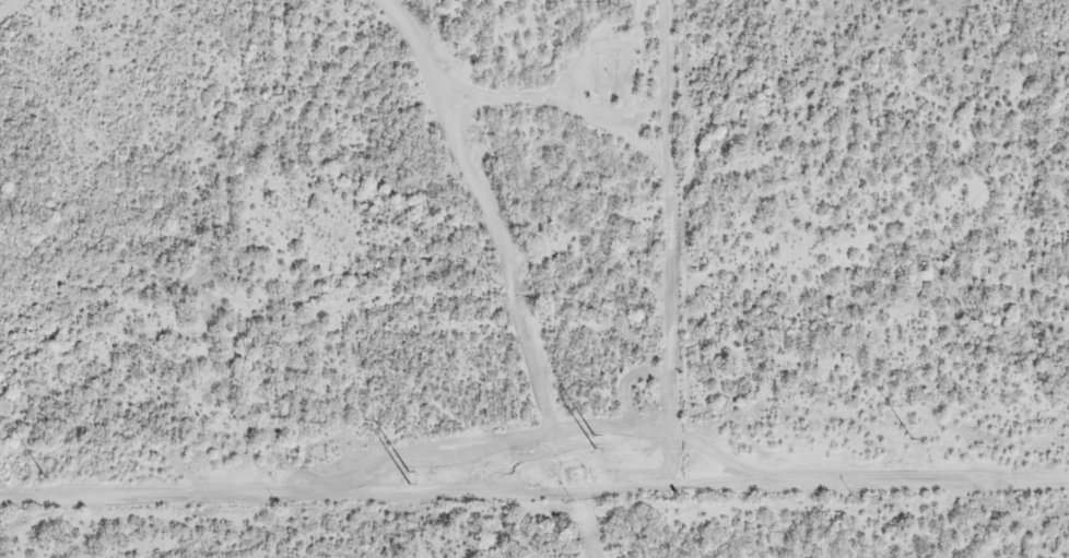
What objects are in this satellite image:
power tower: (595, 436)
power tower: (912, 439)
power tower: (407, 471)
power tower: (45, 476)

